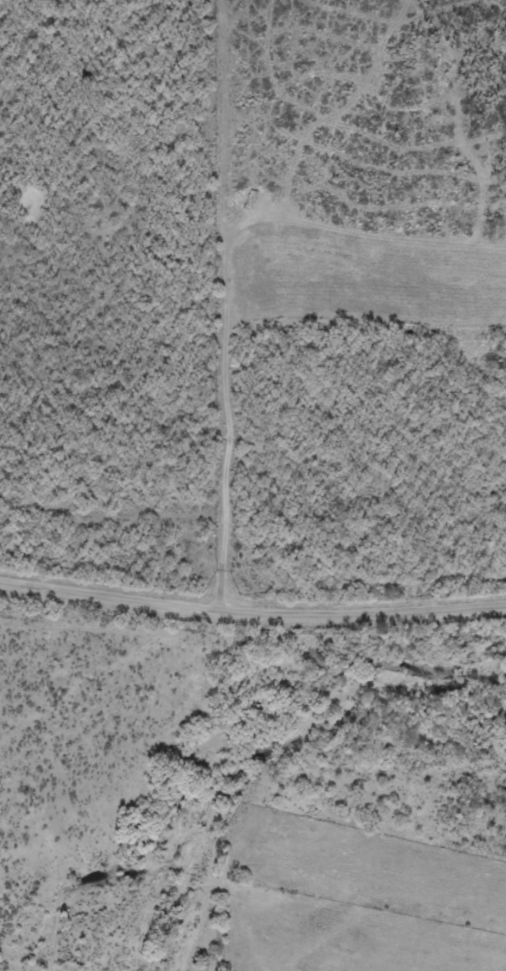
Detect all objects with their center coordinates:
road: (253, 617)

